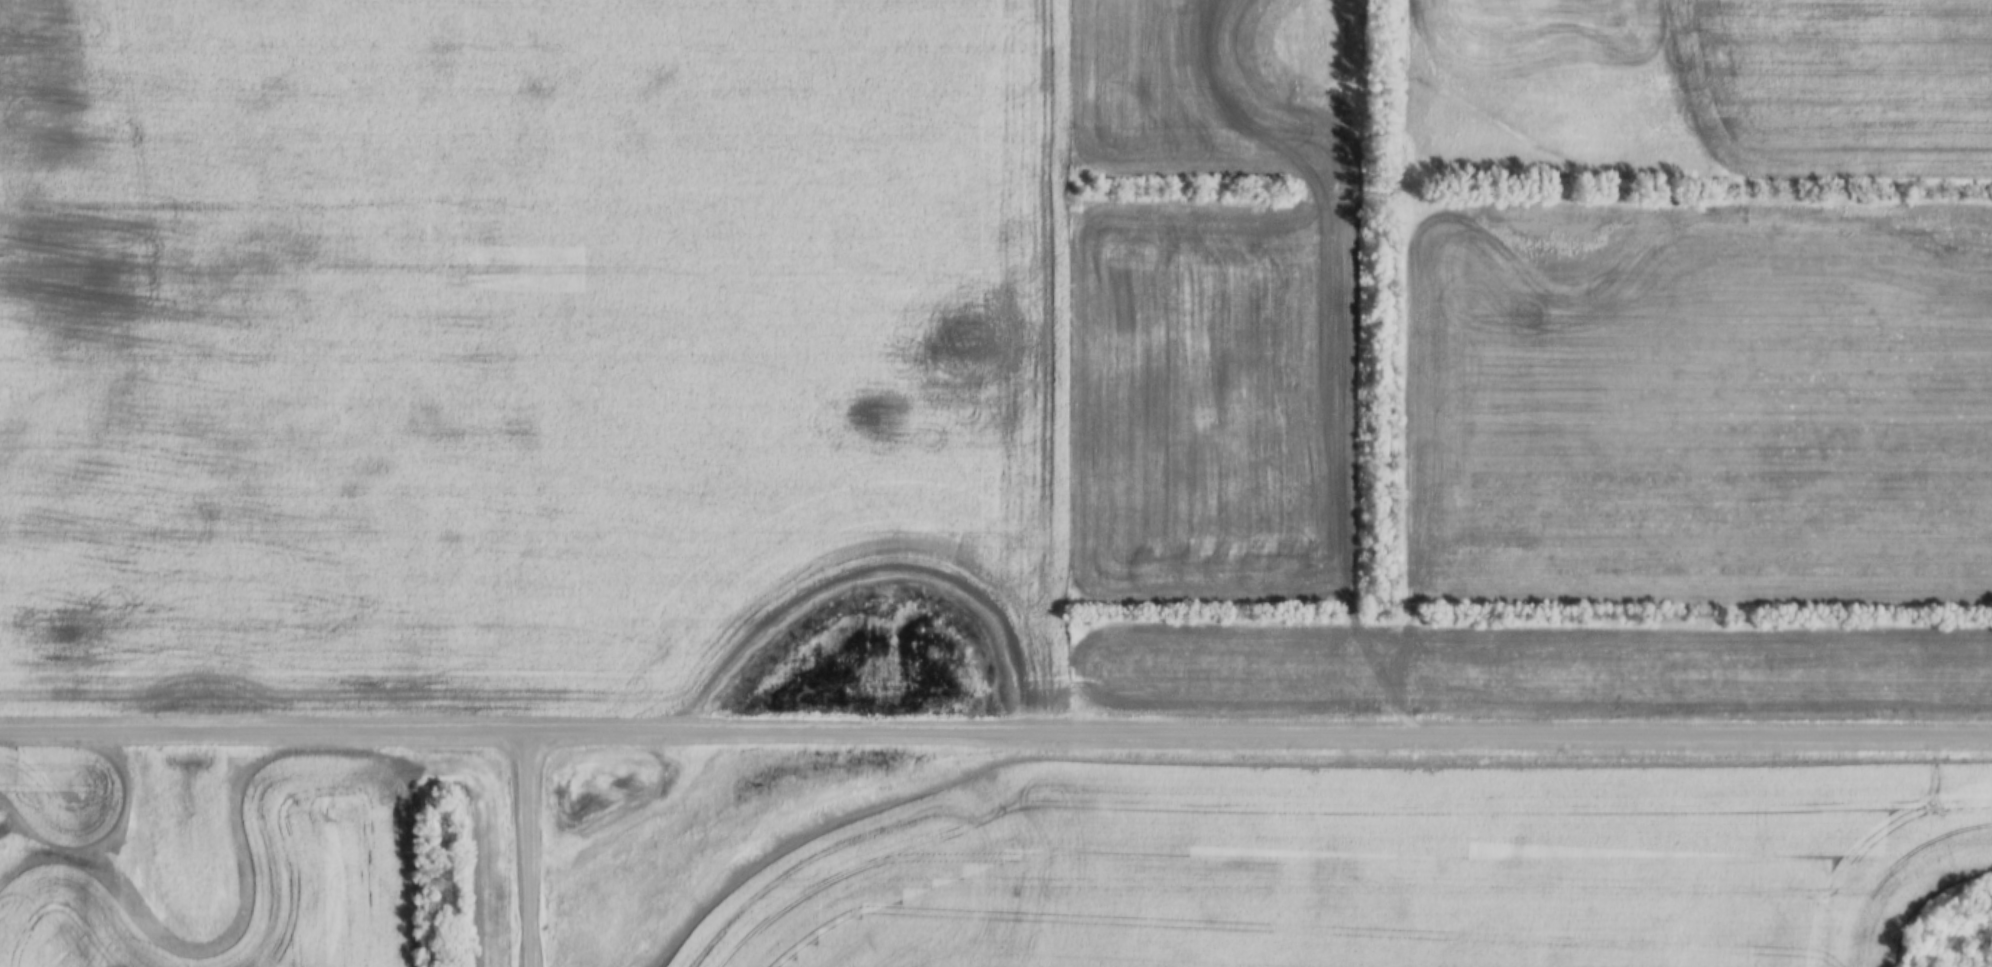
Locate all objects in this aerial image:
road: (995, 736)
road: (531, 853)

